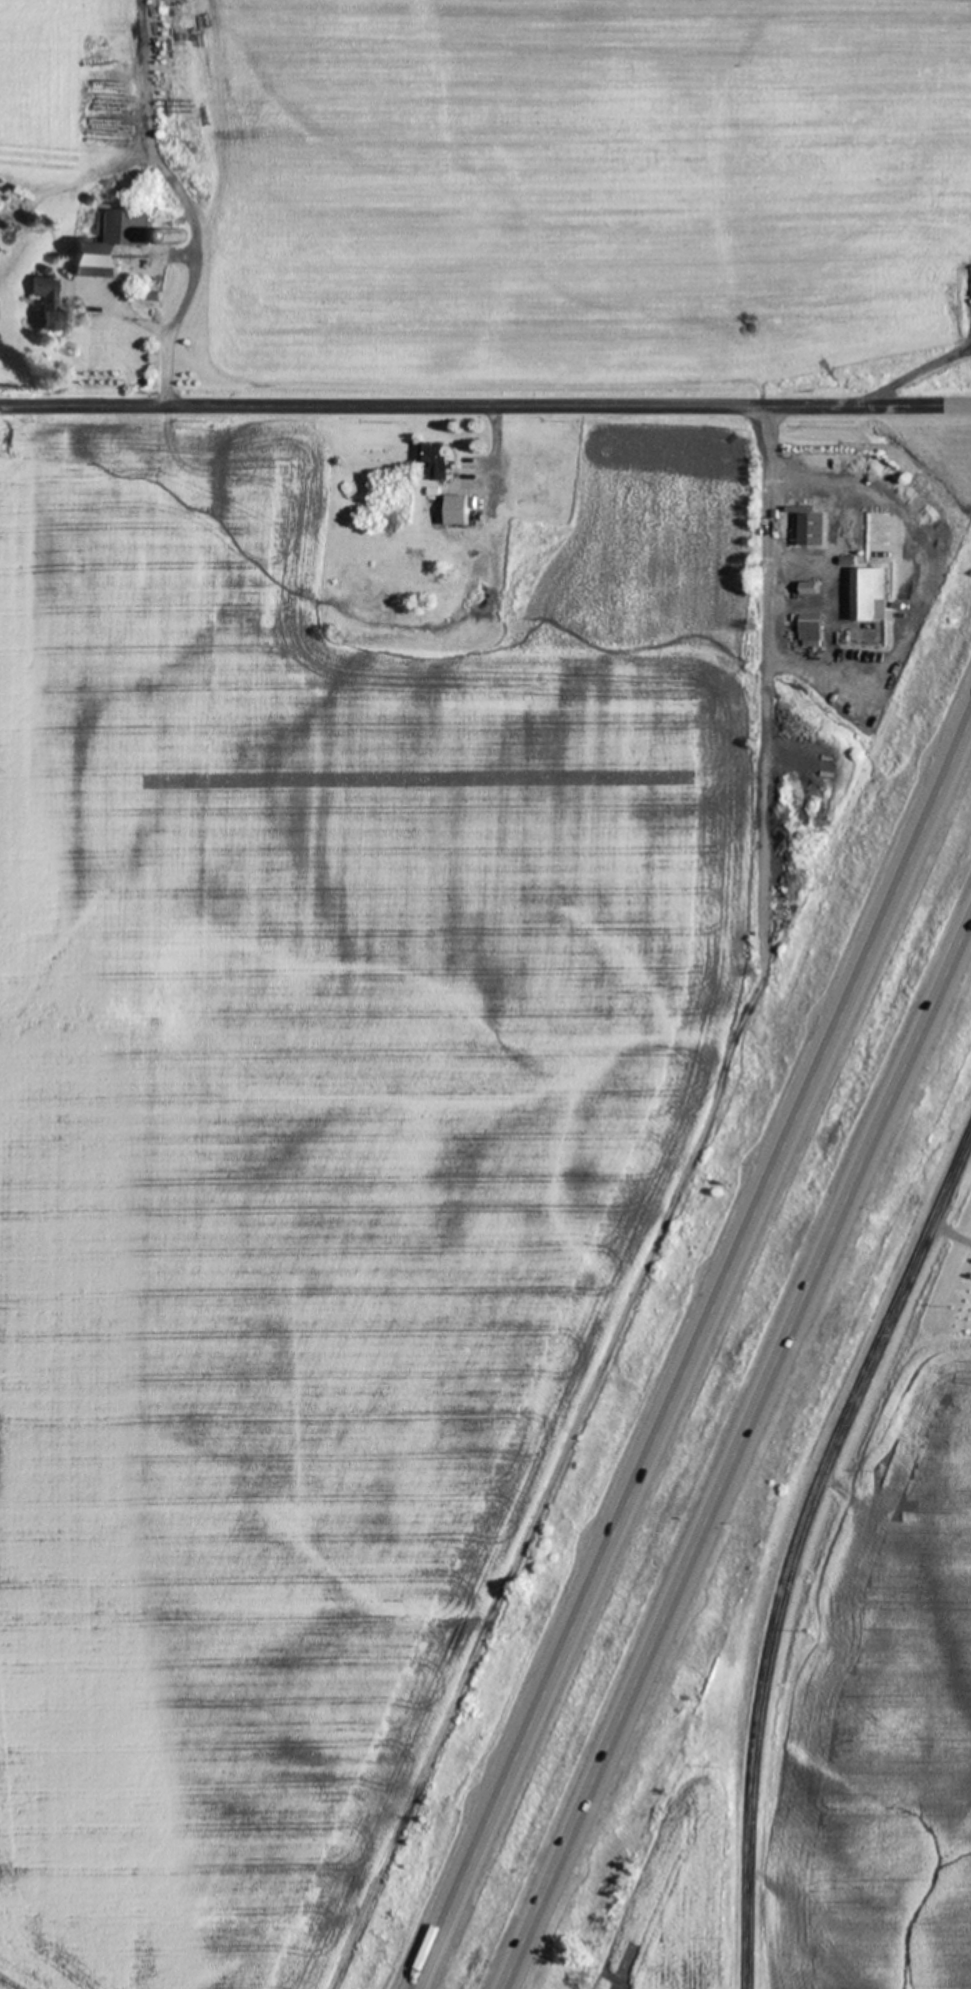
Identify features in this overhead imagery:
building: (110, 244)
building: (45, 303)
road: (485, 404)
building: (438, 460)
building: (813, 530)
building: (810, 588)
building: (871, 595)
building: (805, 625)
road: (769, 678)
road: (950, 1235)
road: (694, 1352)
road: (742, 1458)
road: (796, 1546)

